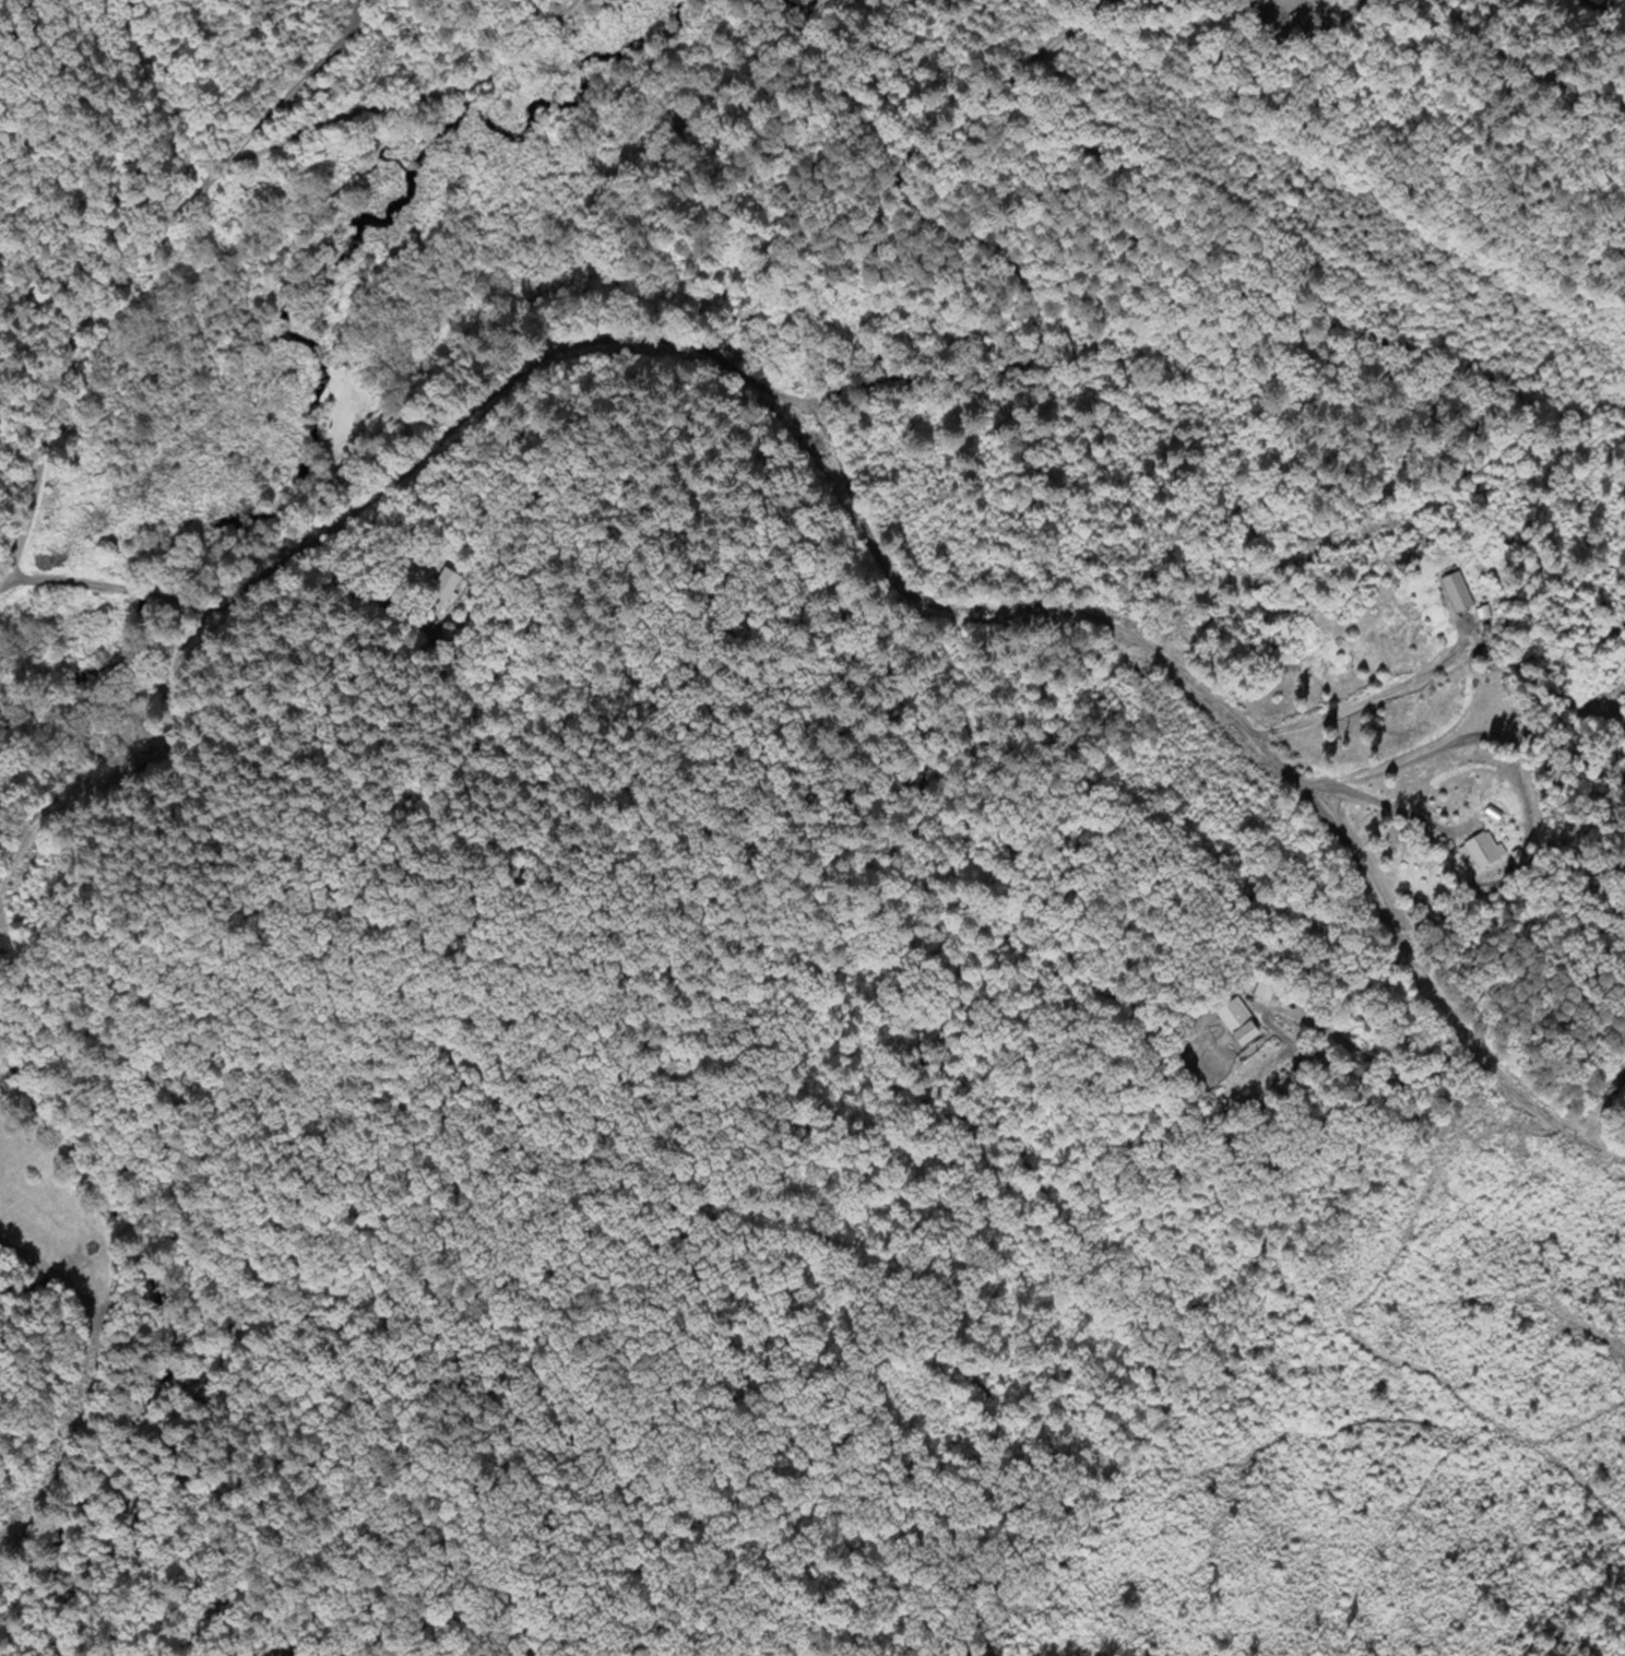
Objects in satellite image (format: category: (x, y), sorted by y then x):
road: (1522, 64)
road: (190, 198)
road: (963, 251)
road: (411, 463)
building: (444, 588)
building: (1456, 591)
road: (1241, 723)
building: (1478, 849)
building: (1262, 991)
building: (1236, 1021)
road: (102, 1385)

